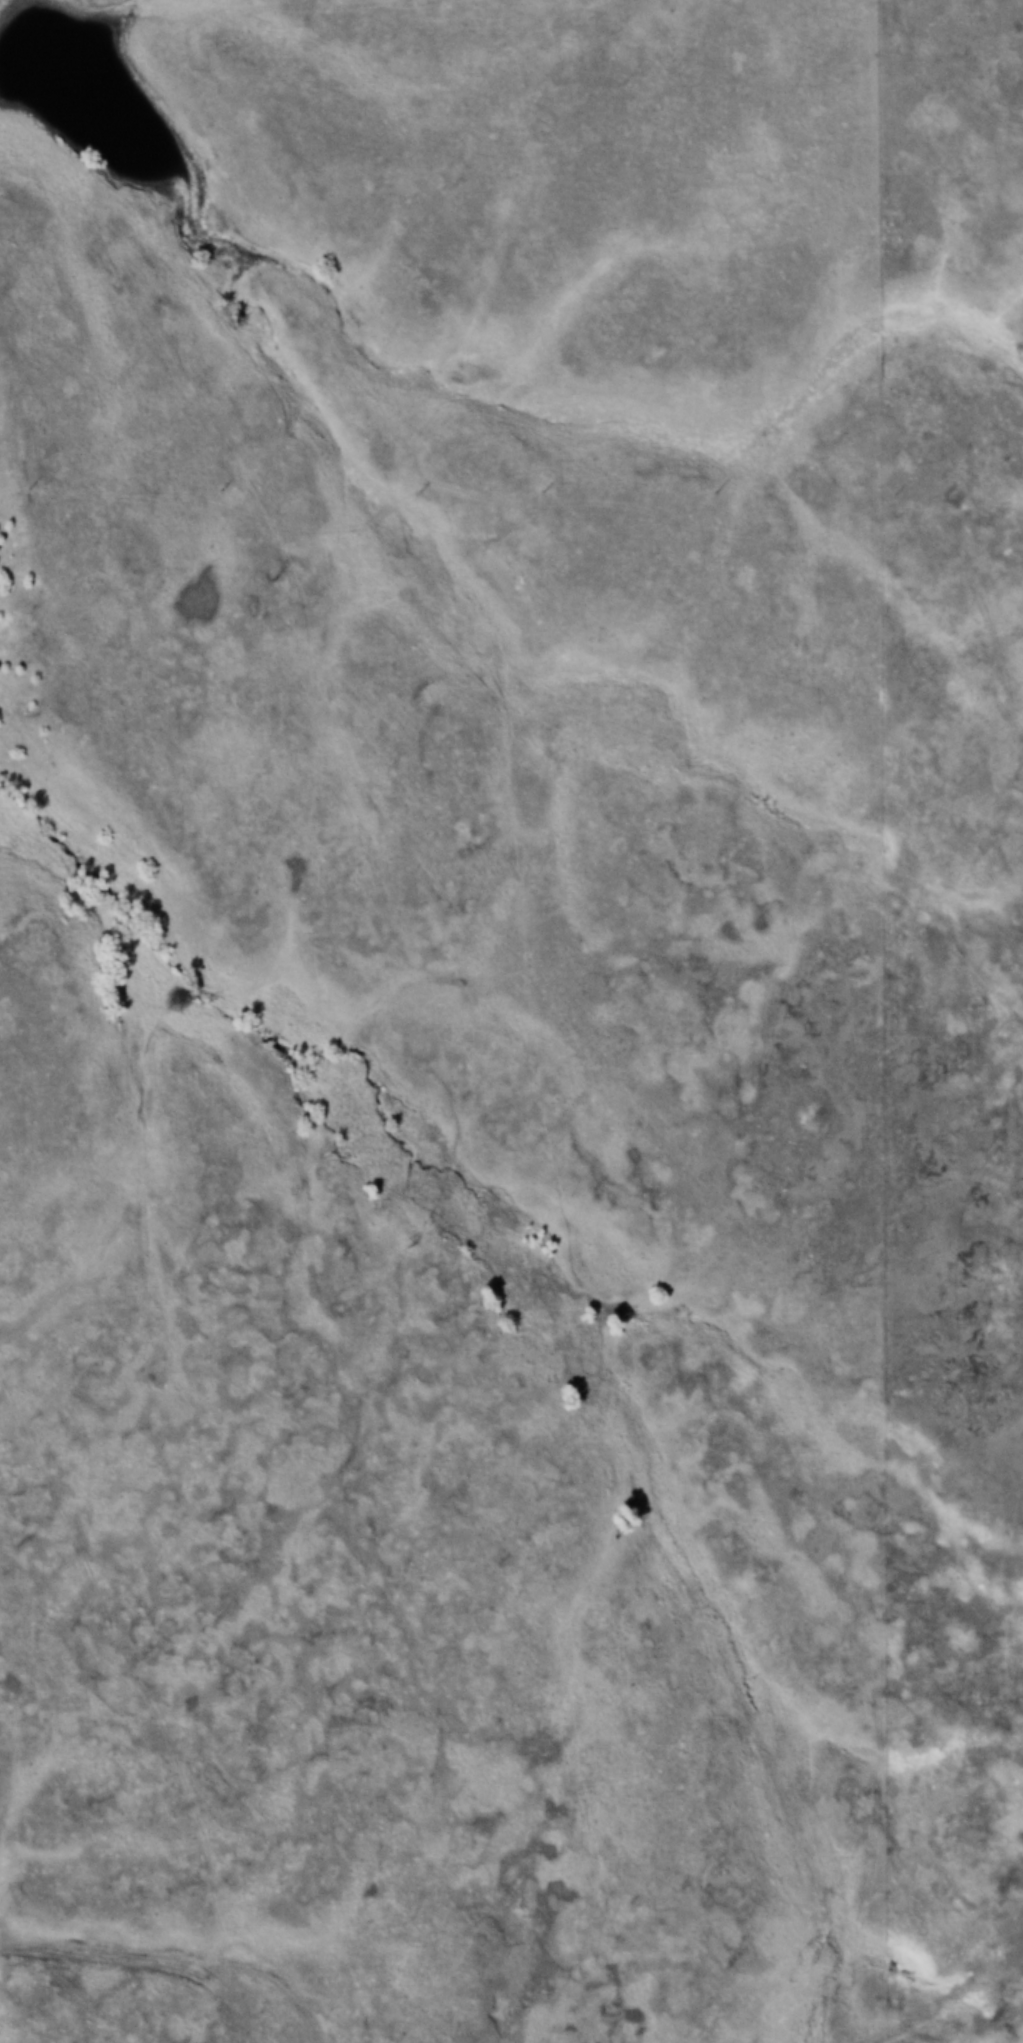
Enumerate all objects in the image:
road: (146, 1962)

